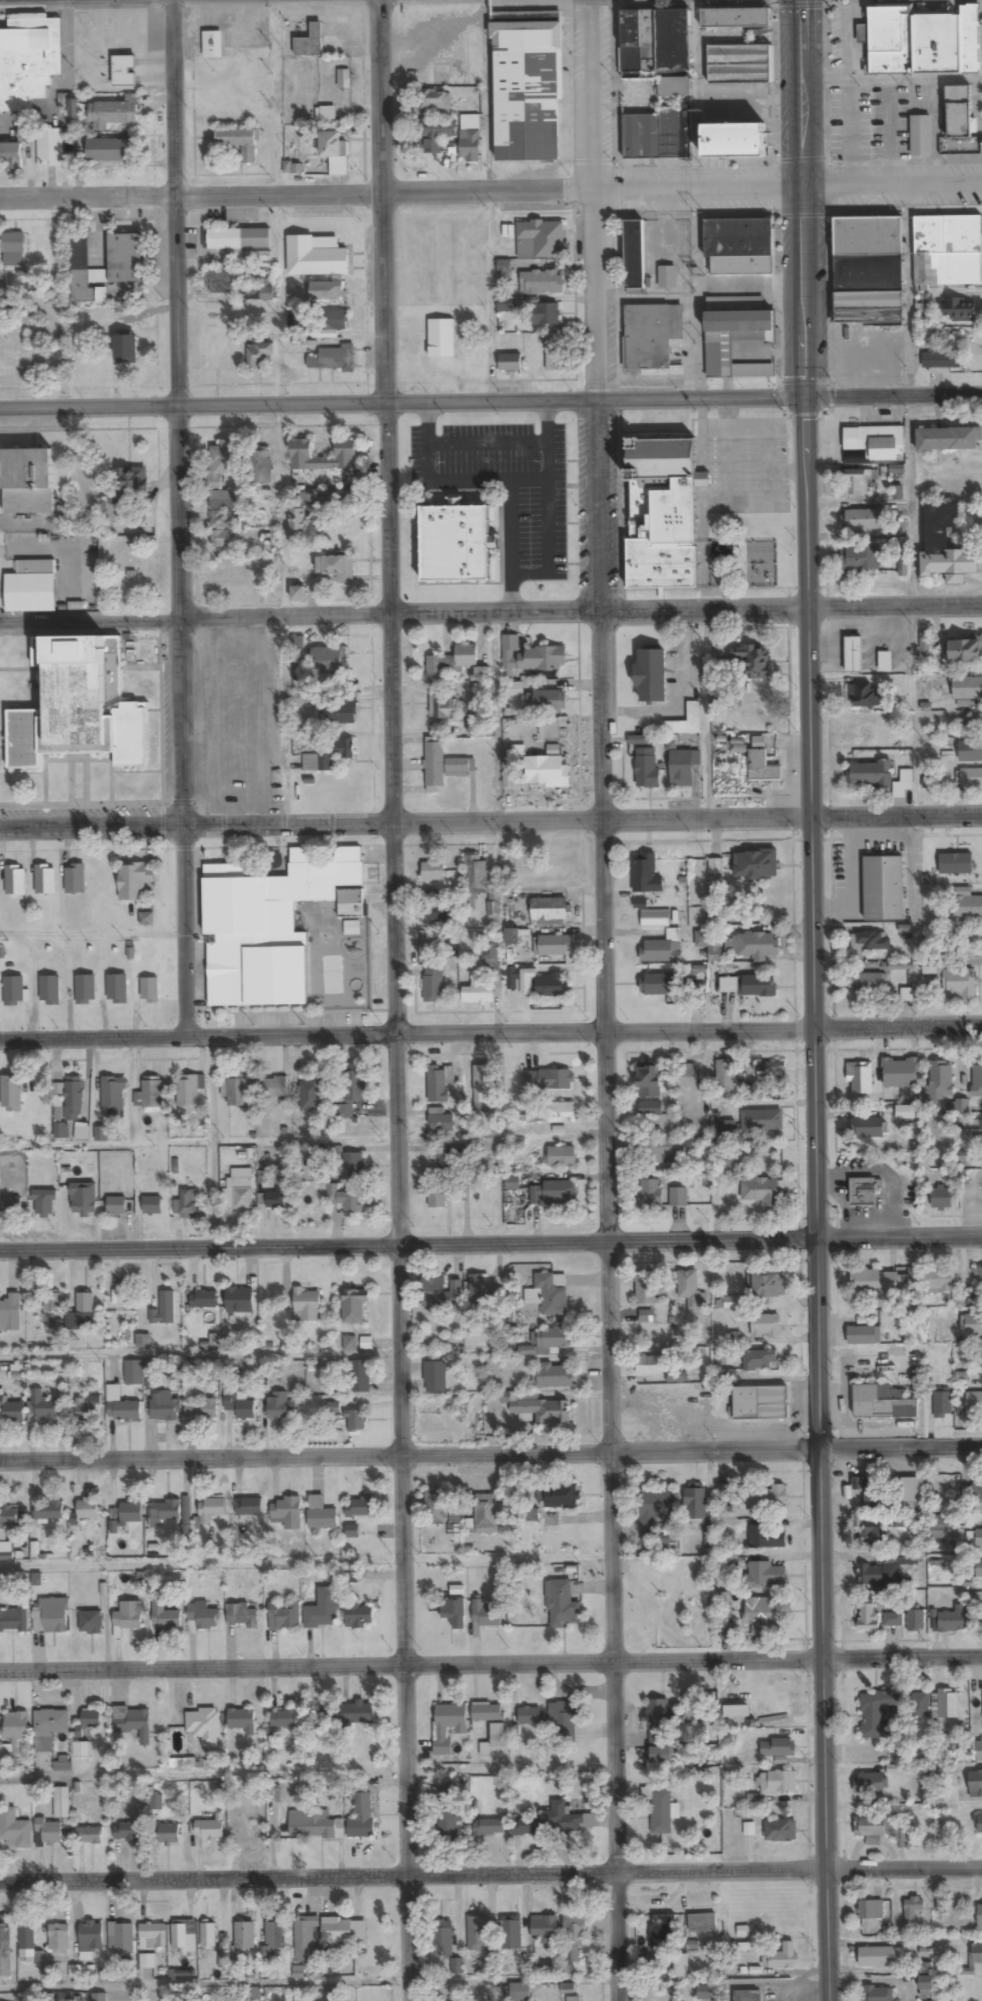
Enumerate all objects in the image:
building: (922, 40)
building: (310, 43)
building: (735, 46)
building: (657, 49)
building: (28, 61)
building: (123, 71)
building: (527, 93)
building: (435, 101)
building: (73, 110)
building: (115, 112)
building: (958, 113)
building: (435, 136)
building: (658, 136)
building: (920, 137)
building: (733, 142)
building: (239, 143)
building: (331, 146)
building: (470, 147)
building: (50, 148)
building: (15, 151)
building: (109, 151)
road: (490, 182)
building: (543, 238)
building: (238, 240)
building: (739, 247)
building: (12, 250)
building: (947, 252)
building: (316, 257)
building: (634, 257)
building: (124, 259)
building: (868, 272)
building: (667, 278)
building: (222, 281)
building: (541, 283)
building: (85, 289)
building: (328, 293)
building: (958, 310)
building: (542, 315)
building: (334, 321)
building: (652, 338)
building: (441, 339)
building: (739, 339)
building: (125, 350)
building: (555, 353)
building: (260, 355)
building: (947, 356)
building: (333, 360)
building: (509, 364)
road: (490, 401)
road: (103, 428)
building: (948, 441)
building: (876, 442)
building: (301, 450)
building: (222, 464)
building: (260, 466)
building: (131, 480)
building: (28, 481)
building: (857, 484)
building: (225, 511)
building: (148, 514)
building: (662, 515)
road: (175, 518)
building: (861, 520)
building: (297, 521)
building: (228, 540)
building: (455, 545)
building: (946, 547)
building: (861, 560)
building: (337, 569)
building: (237, 577)
building: (31, 588)
building: (298, 595)
road: (490, 615)
building: (965, 649)
building: (853, 654)
building: (530, 657)
building: (753, 660)
building: (326, 661)
building: (885, 661)
building: (457, 664)
building: (651, 675)
building: (967, 688)
building: (512, 690)
building: (863, 695)
building: (549, 701)
building: (79, 706)
building: (444, 707)
building: (339, 714)
building: (757, 717)
building: (685, 722)
building: (970, 725)
building: (476, 729)
building: (868, 734)
building: (970, 751)
building: (327, 755)
building: (762, 762)
building: (433, 765)
building: (459, 767)
building: (681, 769)
building: (548, 771)
building: (647, 772)
building: (871, 774)
building: (971, 778)
building: (904, 784)
road: (490, 821)
building: (755, 865)
building: (433, 872)
building: (646, 875)
building: (45, 879)
building: (74, 879)
building: (474, 879)
building: (15, 880)
building: (134, 881)
building: (883, 889)
building: (966, 905)
building: (550, 909)
building: (436, 913)
building: (269, 932)
building: (870, 941)
building: (553, 945)
building: (752, 946)
building: (662, 949)
building: (491, 957)
building: (433, 983)
building: (960, 983)
building: (662, 984)
building: (868, 984)
building: (542, 985)
building: (728, 985)
building: (758, 986)
building: (117, 989)
building: (49, 990)
building: (85, 990)
building: (13, 991)
building: (149, 991)
building: (479, 991)
road: (398, 1000)
road: (606, 1000)
road: (813, 1000)
road: (491, 1032)
building: (770, 1072)
building: (899, 1072)
building: (686, 1076)
building: (725, 1076)
building: (860, 1078)
building: (549, 1080)
building: (649, 1081)
building: (940, 1081)
building: (976, 1081)
building: (437, 1084)
building: (483, 1084)
building: (274, 1088)
building: (237, 1091)
building: (351, 1092)
building: (11, 1093)
building: (187, 1094)
building: (310, 1094)
building: (112, 1095)
building: (150, 1096)
building: (73, 1099)
building: (649, 1108)
building: (561, 1112)
building: (441, 1121)
building: (762, 1122)
building: (722, 1127)
building: (867, 1128)
building: (61, 1131)
building: (973, 1132)
building: (657, 1151)
building: (562, 1157)
building: (449, 1159)
building: (352, 1165)
building: (512, 1183)
building: (760, 1191)
building: (864, 1192)
building: (554, 1193)
building: (240, 1194)
building: (649, 1194)
building: (441, 1197)
building: (678, 1197)
building: (277, 1198)
building: (940, 1198)
building: (82, 1199)
building: (346, 1201)
building: (44, 1203)
building: (186, 1204)
building: (11, 1206)
building: (116, 1206)
building: (152, 1206)
road: (491, 1241)
building: (977, 1278)
building: (939, 1281)
building: (886, 1282)
building: (769, 1285)
building: (479, 1289)
building: (649, 1289)
building: (691, 1290)
building: (441, 1291)
building: (547, 1295)
building: (52, 1300)
building: (204, 1300)
building: (239, 1300)
building: (733, 1303)
building: (306, 1306)
building: (354, 1306)
building: (163, 1310)
building: (10, 1312)
building: (82, 1313)
building: (971, 1325)
building: (765, 1326)
building: (863, 1336)
building: (554, 1338)
building: (527, 1351)
road: (201, 1355)
building: (977, 1358)
building: (760, 1360)
building: (650, 1365)
building: (132, 1373)
building: (554, 1376)
building: (359, 1377)
building: (676, 1377)
building: (435, 1378)
building: (759, 1403)
building: (881, 1403)
building: (973, 1404)
building: (943, 1405)
building: (166, 1407)
building: (241, 1407)
building: (281, 1407)
building: (43, 1408)
building: (334, 1408)
building: (87, 1409)
building: (12, 1410)
building: (201, 1410)
building: (124, 1411)
building: (542, 1411)
building: (356, 1422)
road: (491, 1451)
building: (944, 1485)
building: (976, 1490)
building: (870, 1492)
building: (909, 1495)
building: (561, 1496)
building: (724, 1496)
building: (763, 1498)
building: (695, 1504)
building: (248, 1507)
building: (358, 1508)
building: (435, 1508)
building: (87, 1510)
building: (211, 1510)
building: (48, 1511)
building: (165, 1511)
building: (654, 1511)
building: (130, 1513)
building: (286, 1514)
building: (486, 1514)
building: (321, 1515)
building: (531, 1516)
building: (455, 1523)
building: (3, 1534)
building: (767, 1536)
building: (870, 1536)
building: (977, 1538)
road: (307, 1561)
building: (885, 1569)
building: (766, 1575)
building: (559, 1604)
building: (323, 1610)
building: (453, 1613)
building: (763, 1614)
building: (486, 1615)
building: (866, 1615)
building: (54, 1616)
building: (242, 1616)
building: (284, 1616)
building: (128, 1617)
building: (165, 1617)
building: (205, 1617)
building: (359, 1617)
building: (892, 1620)
building: (952, 1620)
building: (14, 1621)
building: (915, 1621)
building: (90, 1623)
road: (491, 1668)
building: (948, 1704)
building: (920, 1705)
building: (488, 1713)
building: (877, 1713)
building: (349, 1714)
building: (530, 1716)
building: (241, 1719)
building: (680, 1719)
building: (90, 1720)
building: (283, 1720)
building: (141, 1723)
building: (562, 1723)
building: (16, 1726)
building: (204, 1726)
building: (448, 1727)
building: (49, 1728)
building: (659, 1731)
building: (497, 1734)
building: (777, 1748)
building: (979, 1751)
road: (207, 1771)
building: (777, 1782)
building: (870, 1783)
building: (975, 1784)
building: (156, 1803)
building: (660, 1813)
building: (362, 1817)
building: (561, 1820)
building: (447, 1821)
building: (979, 1824)
building: (292, 1826)
building: (873, 1826)
building: (523, 1827)
building: (488, 1828)
building: (210, 1829)
building: (321, 1829)
building: (14, 1830)
building: (248, 1830)
building: (780, 1830)
building: (48, 1833)
building: (127, 1833)
building: (168, 1834)
building: (89, 1836)
building: (901, 1838)
road: (491, 1874)
building: (912, 1909)
building: (869, 1910)
building: (979, 1916)
building: (702, 1922)
building: (544, 1929)
building: (337, 1932)
building: (511, 1933)
building: (476, 1934)
building: (662, 1934)
building: (182, 1935)
building: (244, 1936)
building: (91, 1937)
building: (152, 1937)
building: (443, 1937)
building: (59, 1940)
building: (122, 1940)
building: (306, 1940)
building: (573, 1940)
building: (208, 1941)
building: (273, 1941)
building: (27, 1944)
building: (5, 1953)
building: (783, 1956)
building: (878, 1957)
building: (976, 1960)
building: (147, 1962)
building: (680, 1963)
road: (210, 1985)
building: (926, 1986)
building: (520, 1992)
building: (706, 1993)
building: (877, 1993)
building: (747, 1996)
building: (99, 1998)

